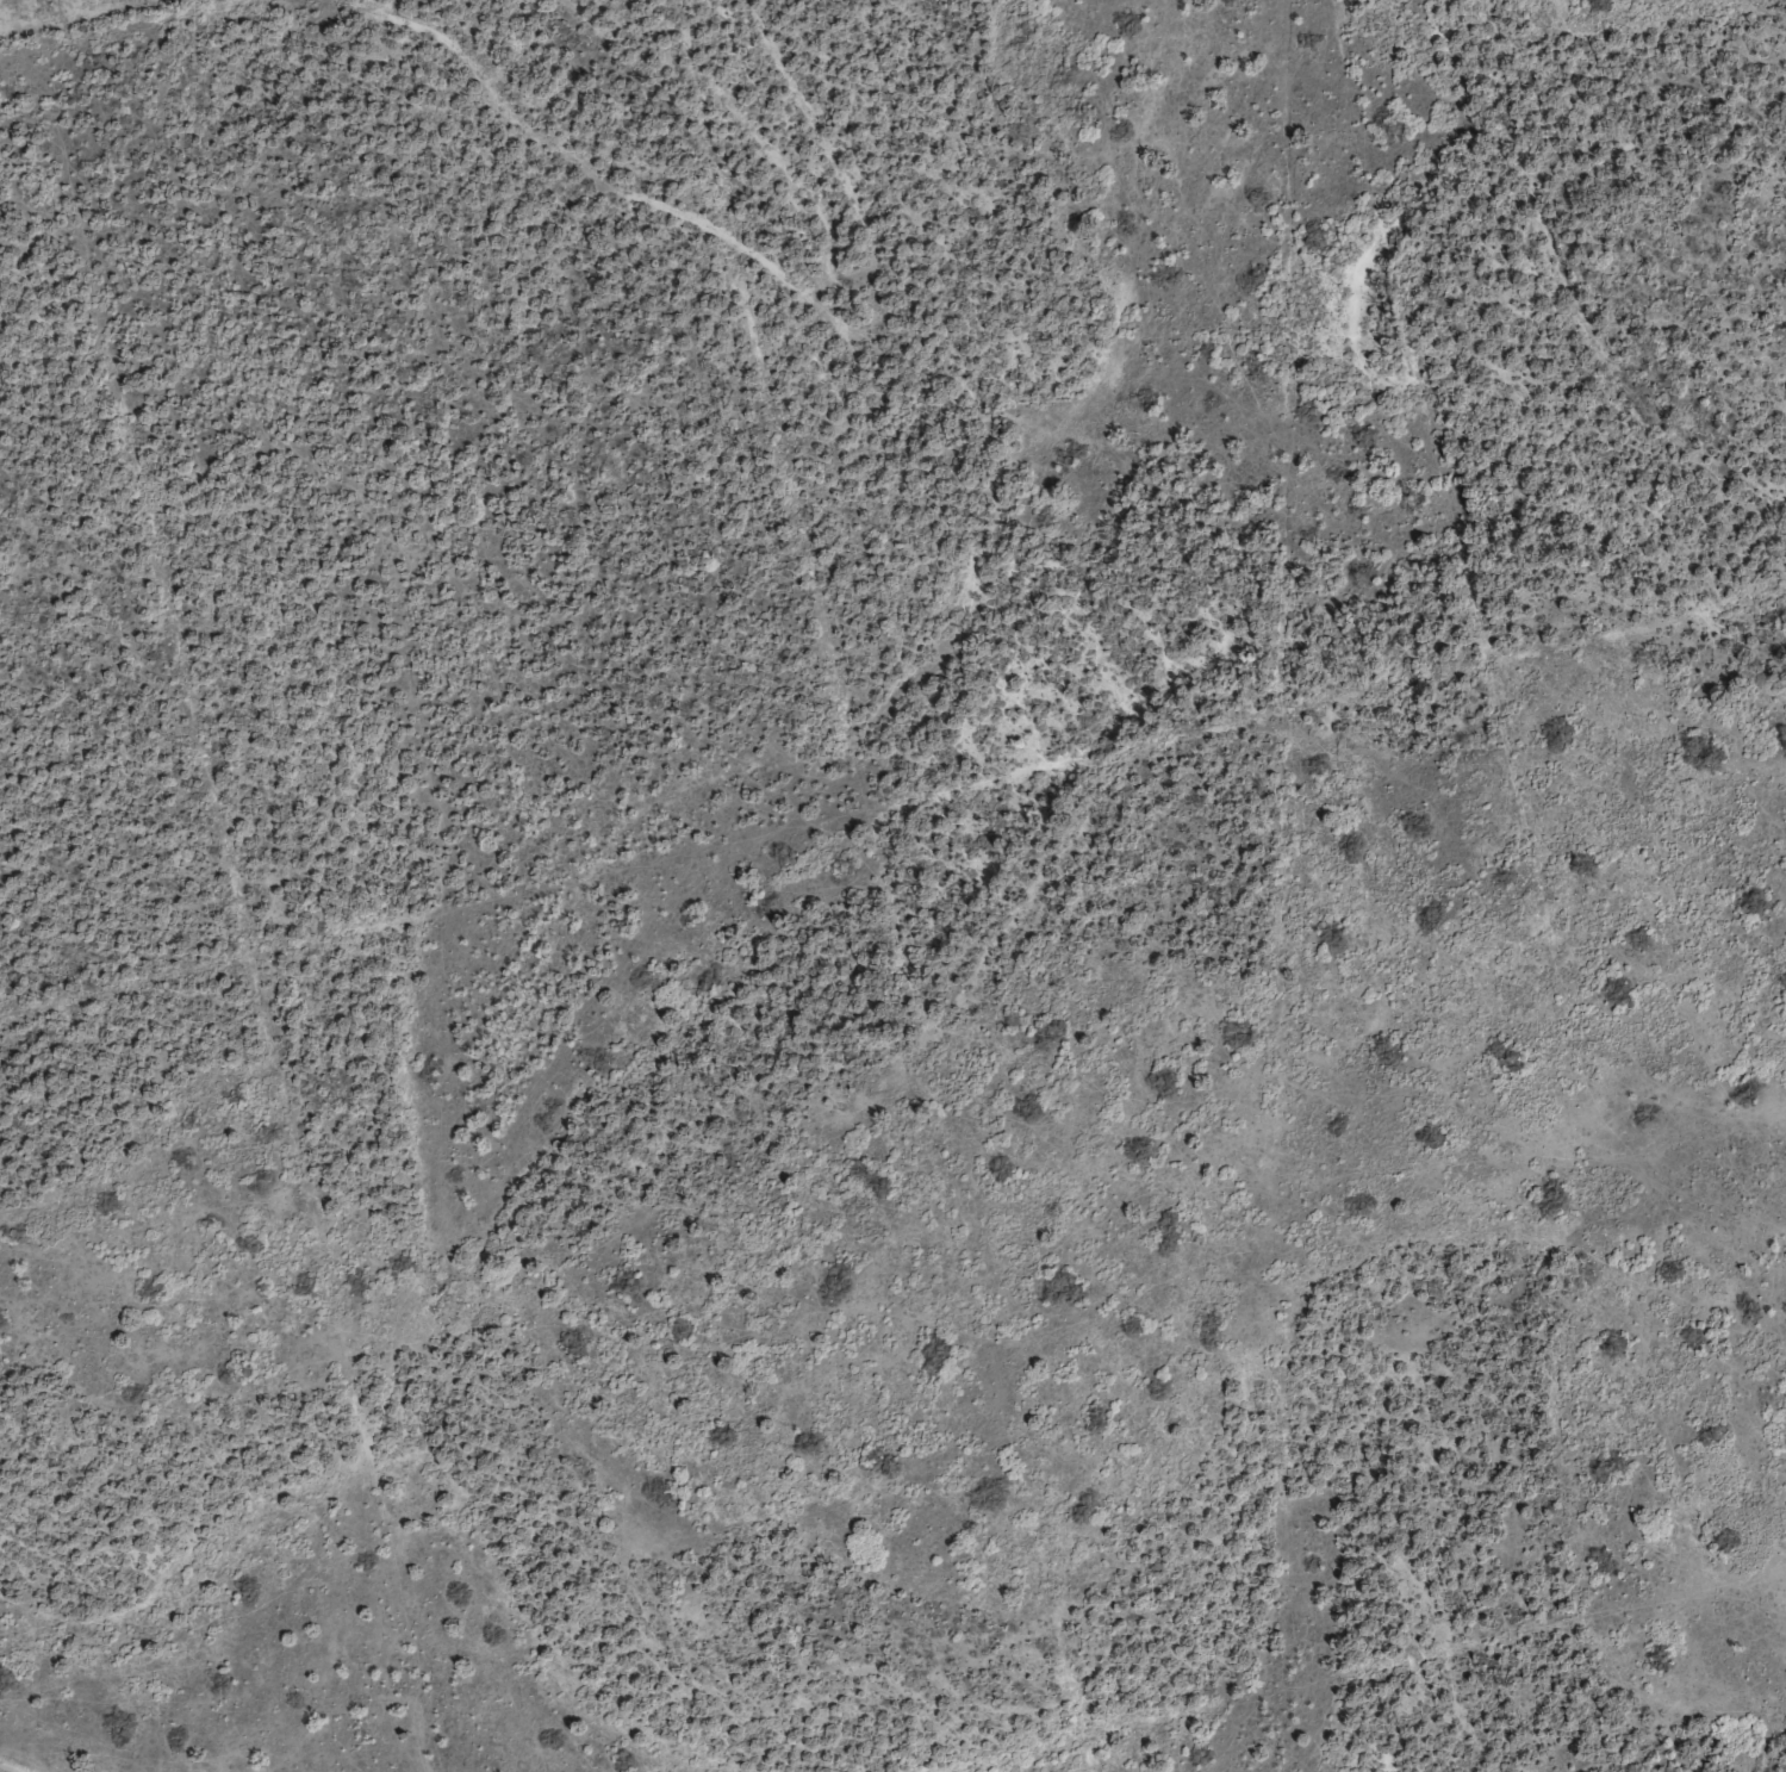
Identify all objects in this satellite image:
road: (920, 1482)
road: (19, 1764)

